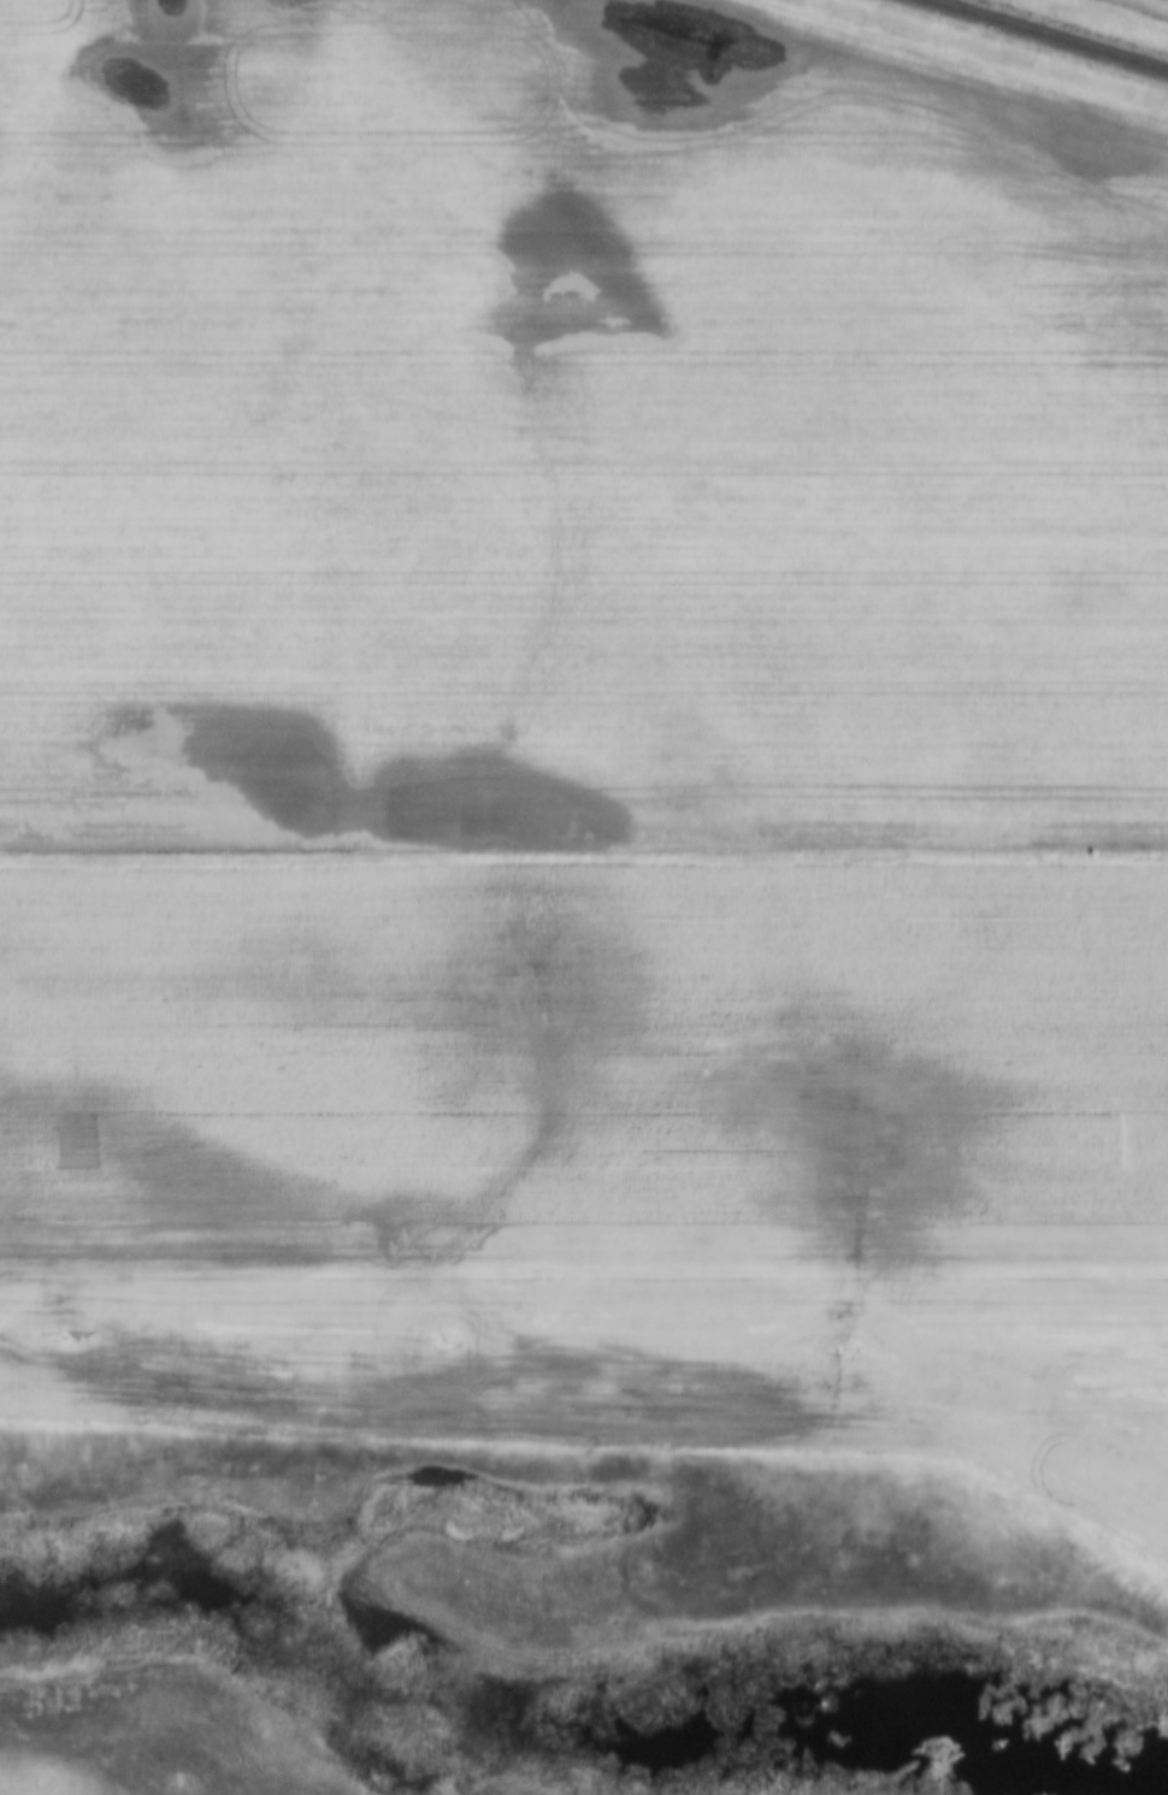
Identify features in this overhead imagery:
railway: (1044, 36)

